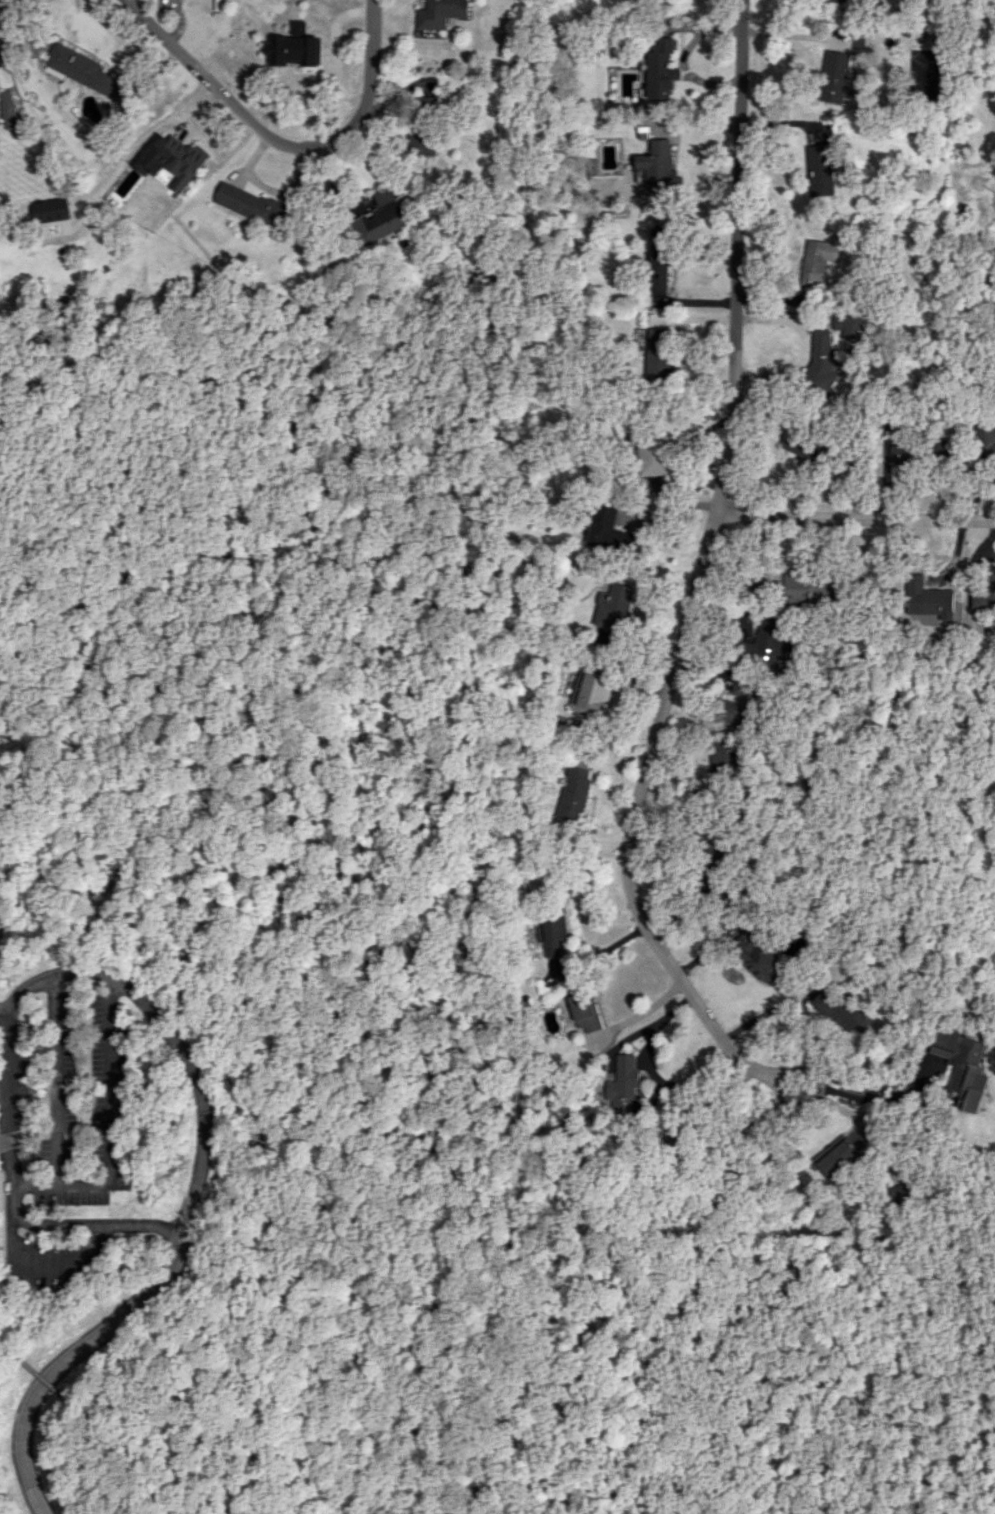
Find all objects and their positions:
building: (833, 1)
building: (440, 13)
building: (293, 47)
building: (662, 69)
building: (81, 70)
building: (833, 77)
building: (7, 109)
building: (422, 140)
road: (281, 144)
building: (180, 161)
building: (659, 164)
building: (818, 170)
building: (249, 204)
building: (380, 217)
building: (661, 259)
building: (817, 262)
building: (847, 326)
building: (660, 351)
building: (820, 358)
building: (986, 442)
building: (808, 449)
building: (649, 450)
building: (898, 455)
road: (854, 517)
building: (606, 530)
road: (697, 571)
building: (808, 586)
building: (983, 596)
building: (925, 598)
building: (614, 607)
road: (319, 619)
building: (766, 642)
building: (588, 692)
building: (738, 704)
building: (722, 752)
building: (574, 792)
road: (158, 837)
building: (553, 935)
building: (754, 955)
road: (134, 976)
parking lot: (82, 996)
road: (4, 1008)
building: (838, 1011)
building: (585, 1012)
road: (642, 1012)
road: (7, 1016)
building: (960, 1065)
road: (650, 1070)
building: (623, 1081)
road: (55, 1083)
road: (813, 1094)
road: (879, 1100)
road: (710, 1102)
road: (868, 1123)
road: (111, 1131)
road: (33, 1136)
road: (10, 1140)
building: (842, 1153)
road: (3, 1252)
parking lot: (49, 1259)
road: (45, 1266)
road: (1, 1295)
road: (341, 1335)
road: (2, 1344)
road: (83, 1347)
road: (38, 1373)
road: (843, 1375)
road: (107, 1415)
road: (186, 1457)

